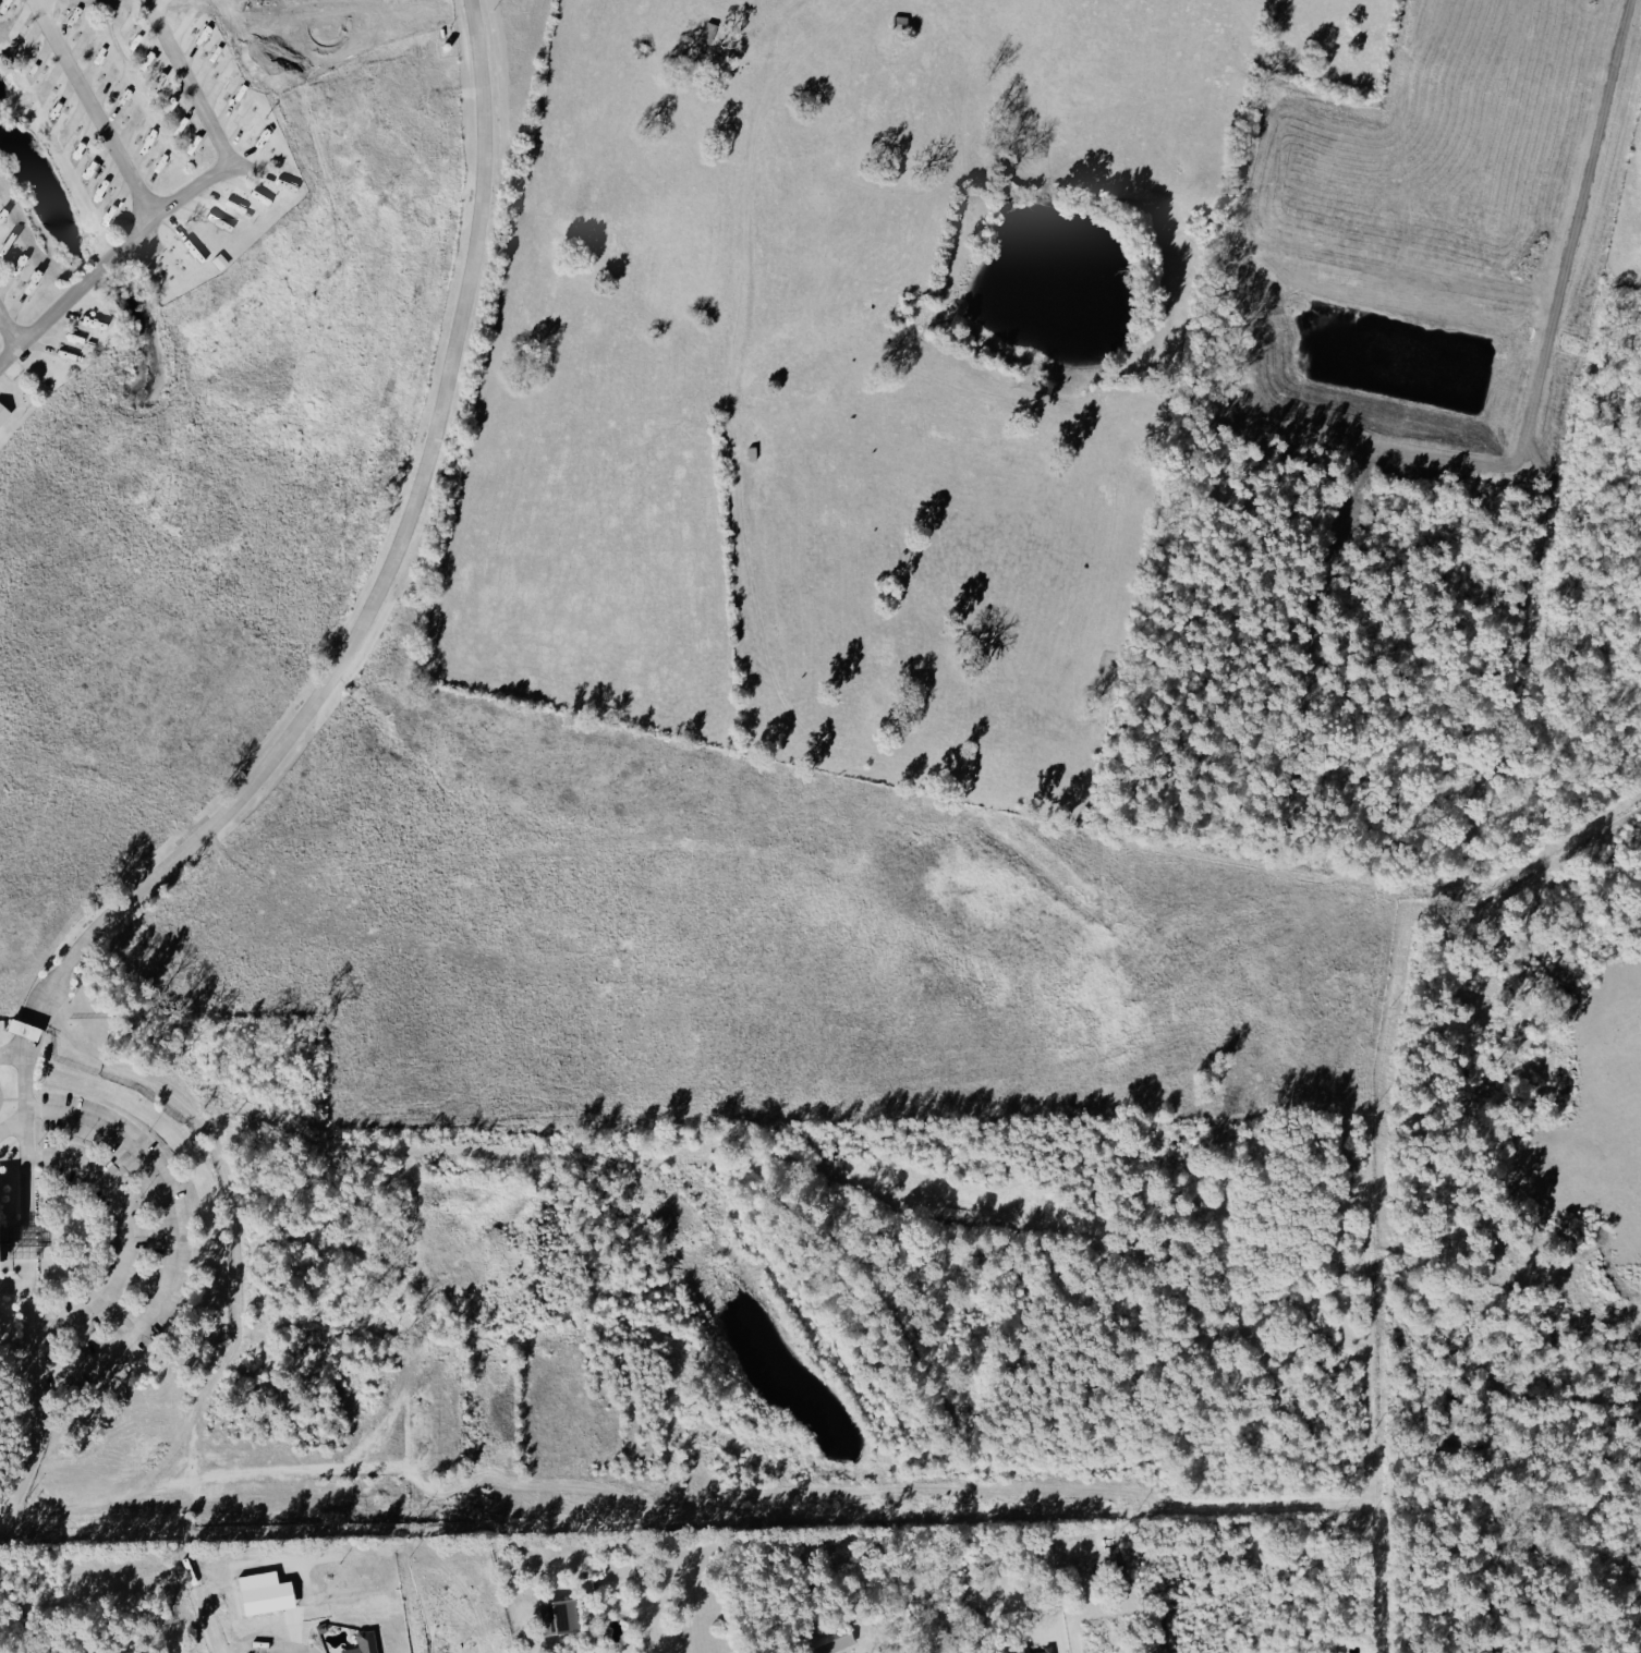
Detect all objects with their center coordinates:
road: (768, 51)
road: (101, 109)
road: (182, 204)
building: (217, 260)
road: (10, 349)
building: (2, 414)
road: (258, 773)
building: (16, 1028)
road: (13, 1054)
road: (12, 1122)
road: (168, 1235)
road: (121, 1236)
road: (3, 1510)
building: (554, 1616)
building: (360, 1642)
road: (879, 1644)
road: (269, 1649)
building: (1033, 1650)

